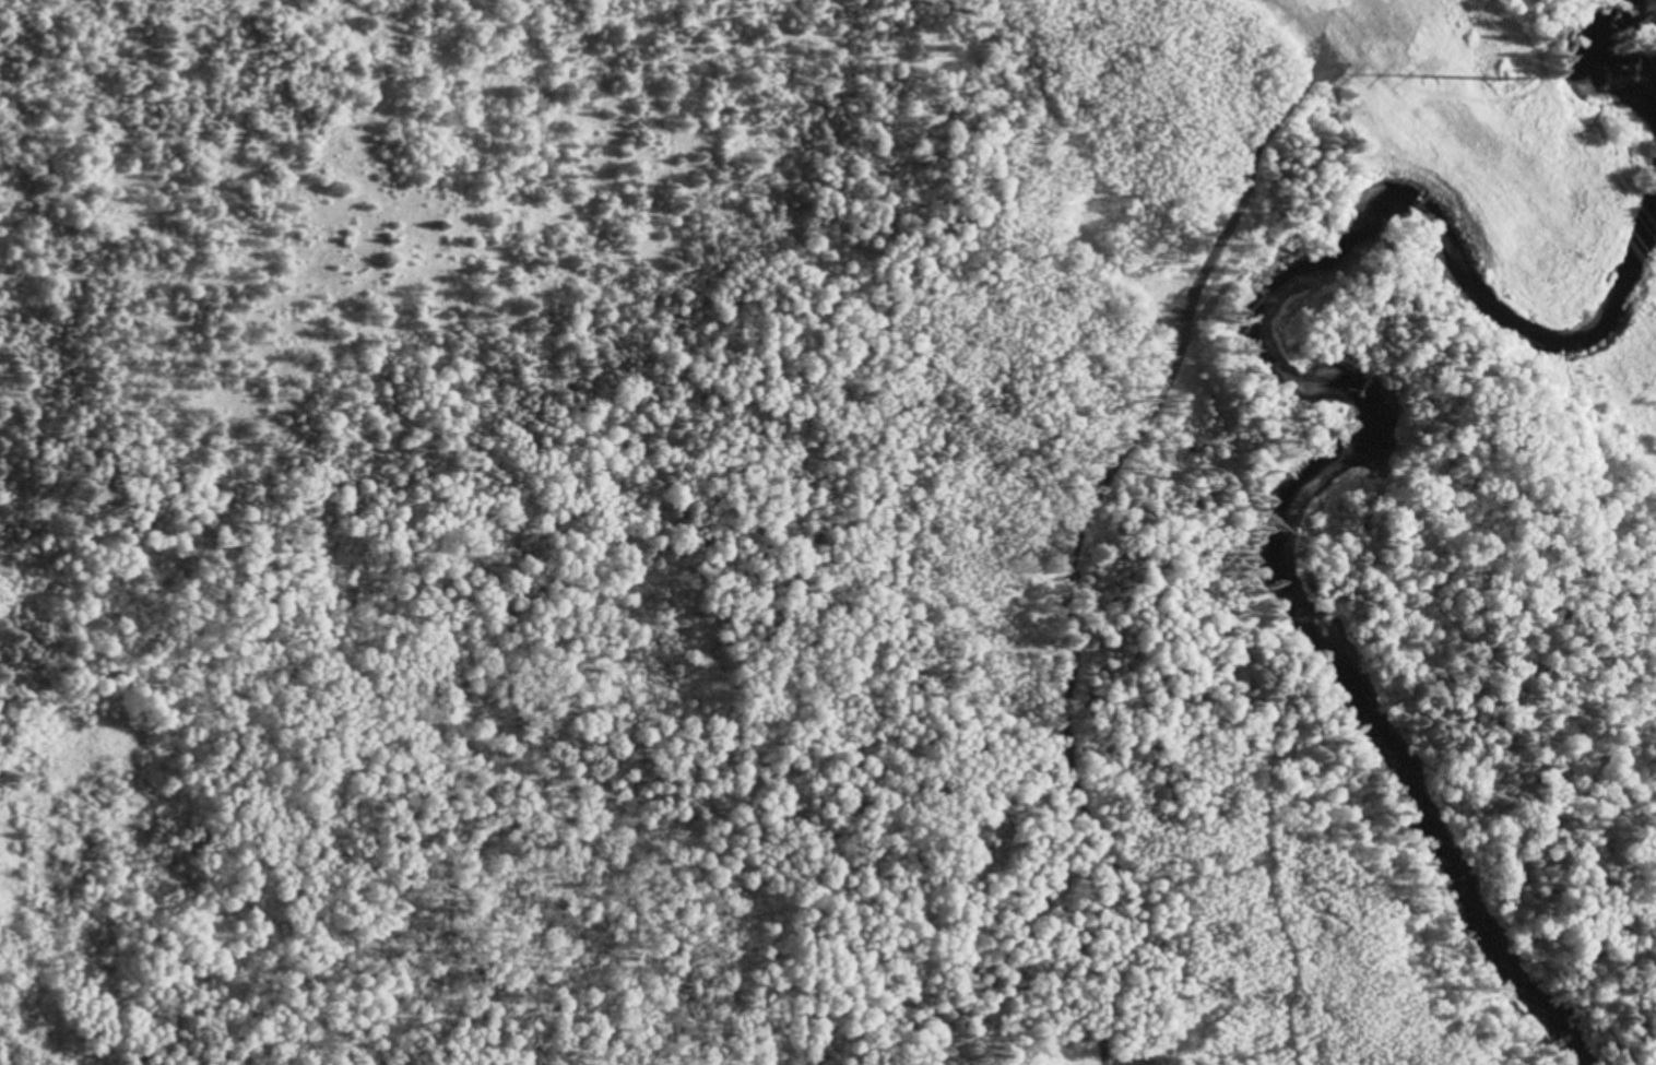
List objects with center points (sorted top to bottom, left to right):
power tower: (1497, 80)

